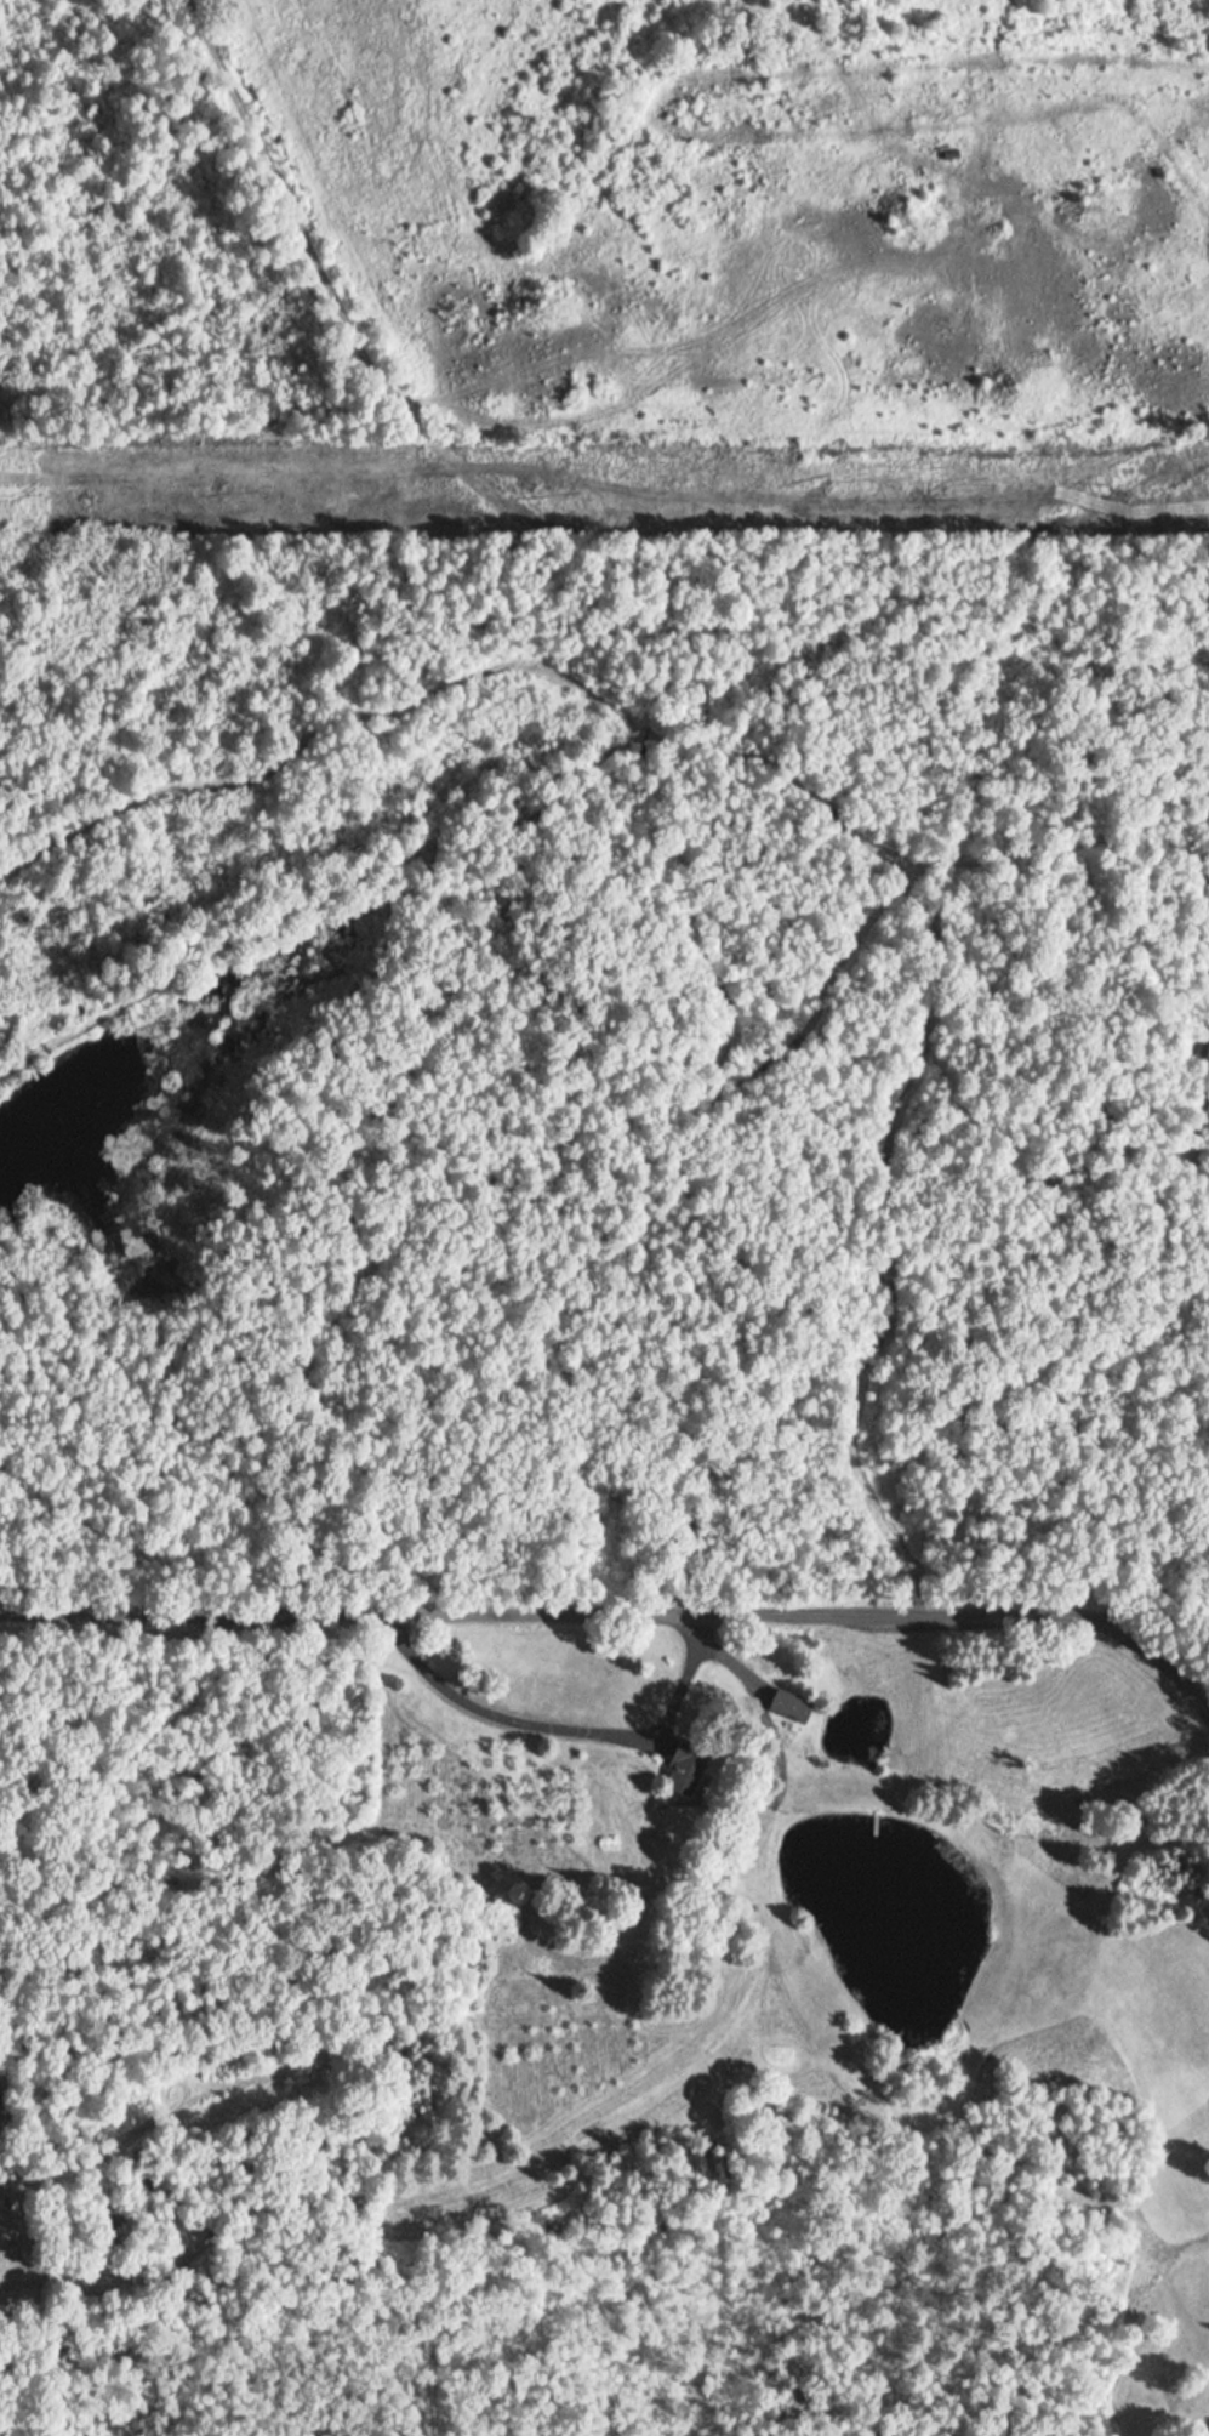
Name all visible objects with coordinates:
road: (648, 1616)

